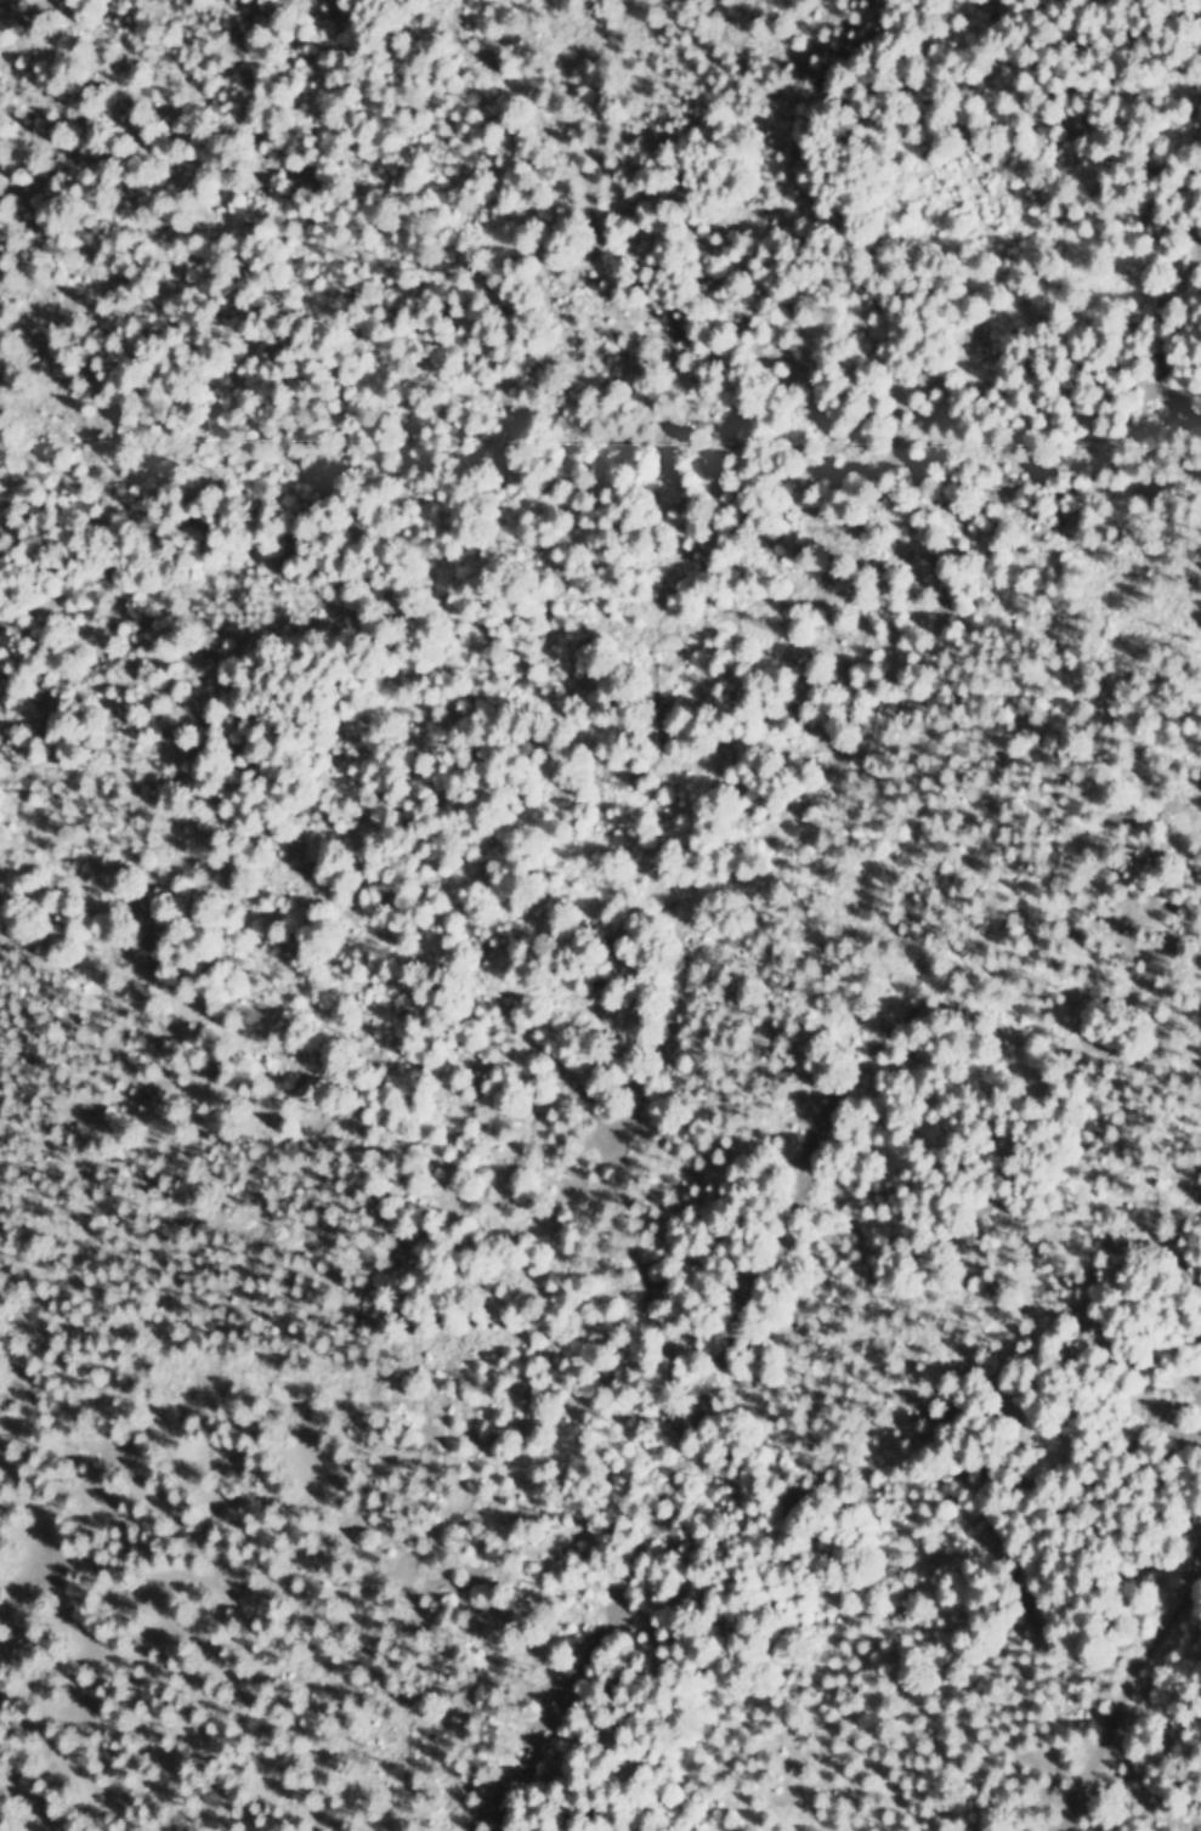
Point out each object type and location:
road: (1126, 1673)

